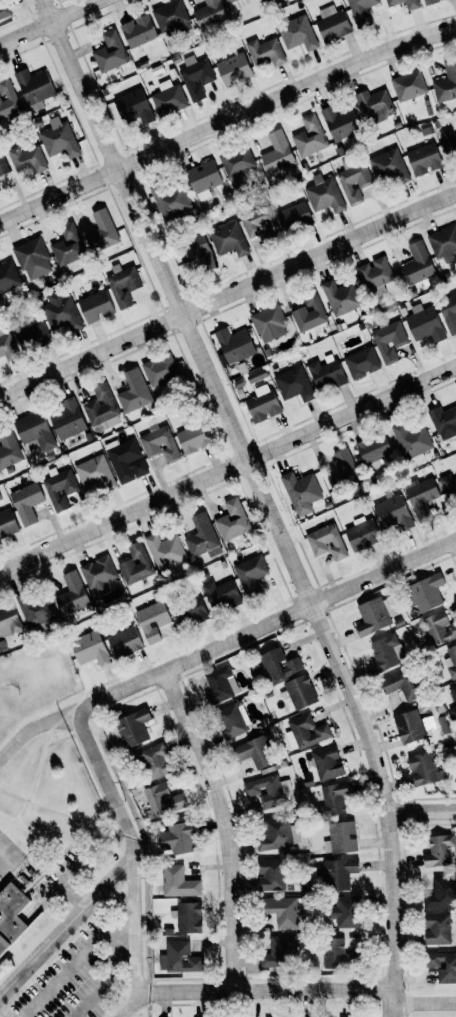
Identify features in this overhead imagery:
building: (264, 0)
building: (430, 2)
building: (236, 4)
building: (412, 4)
building: (4, 9)
building: (362, 11)
building: (210, 14)
building: (171, 18)
road: (52, 23)
building: (332, 23)
building: (139, 31)
building: (298, 33)
building: (110, 52)
building: (266, 52)
building: (234, 69)
building: (196, 77)
building: (446, 83)
building: (408, 85)
building: (35, 86)
building: (8, 99)
building: (169, 99)
building: (373, 105)
building: (134, 106)
road: (224, 121)
building: (340, 122)
building: (310, 137)
building: (59, 139)
building: (448, 142)
building: (277, 153)
building: (27, 159)
building: (424, 159)
building: (237, 161)
building: (3, 165)
building: (389, 167)
building: (203, 179)
building: (0, 190)
building: (325, 195)
building: (169, 199)
building: (295, 217)
building: (258, 223)
building: (101, 232)
building: (229, 239)
building: (443, 243)
building: (68, 246)
building: (198, 253)
building: (33, 259)
building: (417, 264)
building: (8, 276)
building: (375, 276)
building: (124, 285)
road: (225, 292)
building: (96, 306)
building: (61, 312)
building: (449, 312)
building: (309, 313)
building: (269, 324)
building: (425, 324)
building: (32, 336)
building: (389, 341)
building: (7, 344)
building: (234, 345)
building: (362, 363)
building: (160, 369)
building: (326, 373)
building: (294, 384)
building: (134, 392)
building: (263, 404)
building: (102, 407)
building: (67, 419)
building: (443, 419)
building: (35, 432)
building: (194, 436)
building: (411, 439)
building: (160, 444)
building: (374, 450)
building: (10, 452)
building: (126, 460)
road: (229, 469)
building: (343, 470)
building: (94, 473)
building: (60, 488)
building: (449, 488)
building: (301, 492)
road: (263, 496)
building: (422, 497)
building: (27, 502)
building: (393, 512)
building: (232, 520)
building: (7, 523)
building: (362, 534)
building: (202, 537)
building: (326, 542)
building: (165, 551)
building: (136, 564)
building: (98, 572)
building: (251, 574)
building: (426, 592)
building: (72, 594)
building: (221, 595)
building: (37, 609)
building: (192, 612)
building: (374, 616)
road: (274, 620)
building: (9, 621)
building: (152, 621)
building: (439, 628)
building: (125, 642)
building: (90, 648)
building: (386, 653)
building: (451, 662)
building: (280, 665)
building: (220, 685)
building: (400, 685)
building: (301, 692)
building: (453, 692)
building: (453, 712)
building: (231, 721)
road: (43, 722)
building: (409, 726)
building: (134, 727)
building: (306, 732)
building: (255, 752)
building: (156, 761)
building: (327, 763)
building: (424, 769)
building: (266, 791)
building: (333, 799)
building: (164, 800)
road: (421, 812)
road: (221, 824)
building: (278, 833)
building: (343, 837)
building: (178, 838)
building: (439, 850)
road: (120, 863)
building: (338, 874)
building: (270, 875)
building: (179, 882)
building: (442, 893)
building: (284, 911)
building: (345, 912)
building: (11, 916)
building: (189, 917)
building: (437, 928)
road: (133, 931)
road: (120, 947)
road: (127, 949)
building: (279, 953)
building: (337, 954)
building: (179, 958)
road: (75, 962)
building: (443, 966)
building: (5, 968)
road: (273, 989)
road: (97, 990)
road: (131, 997)
road: (423, 1005)
road: (26, 1014)

